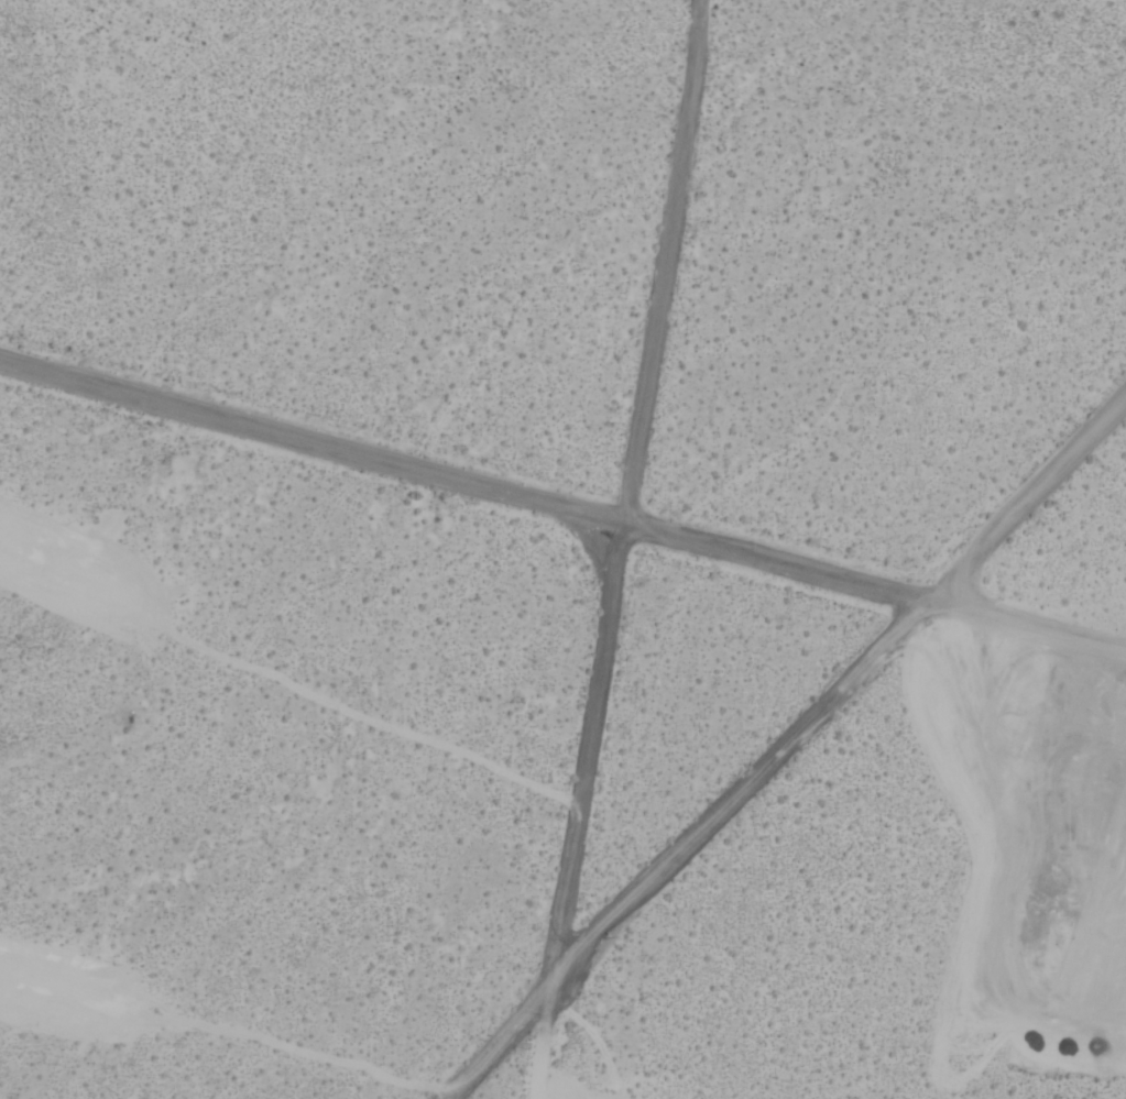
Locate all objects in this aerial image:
airport: (562, 549)
road: (1105, 647)

